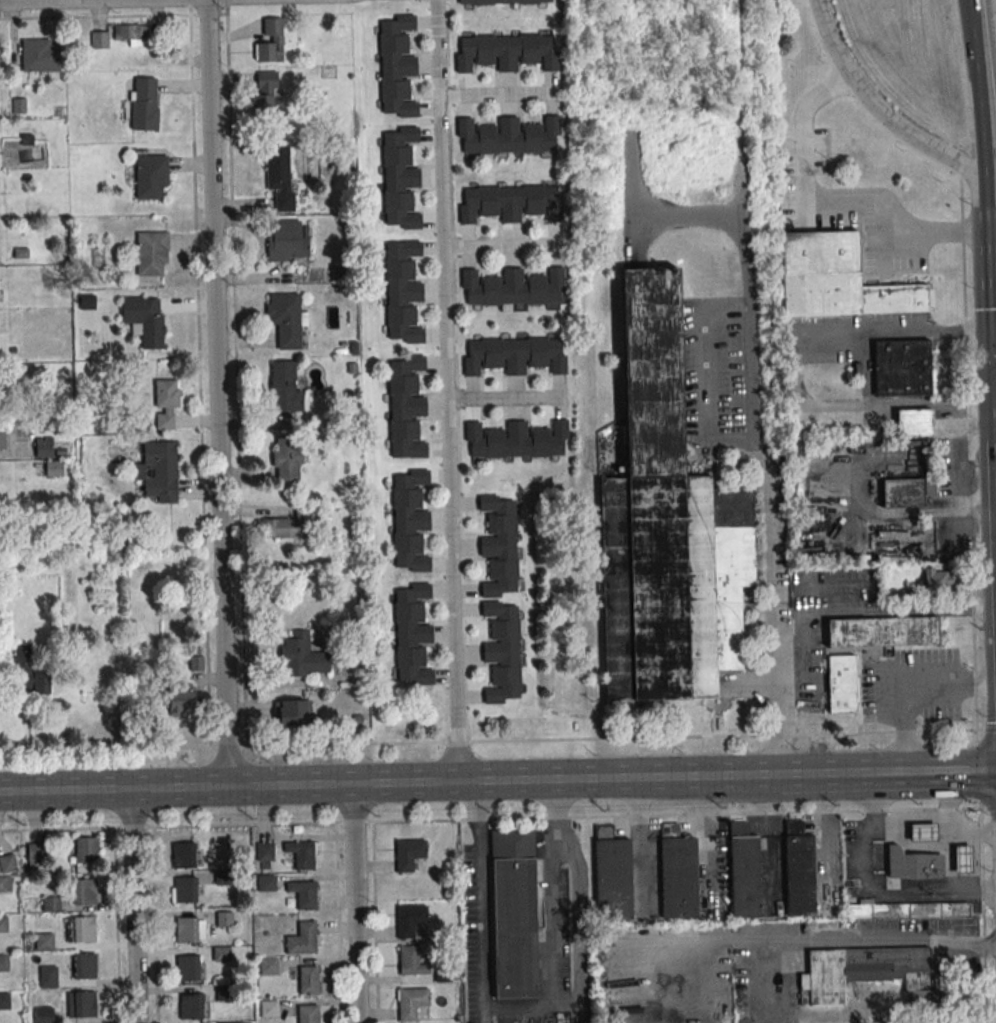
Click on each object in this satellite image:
building: (501, 2)
building: (130, 34)
building: (99, 40)
building: (270, 41)
building: (505, 51)
building: (41, 55)
building: (397, 66)
road: (978, 88)
building: (264, 91)
road: (497, 93)
building: (143, 105)
road: (878, 109)
building: (506, 136)
building: (279, 175)
building: (150, 177)
building: (400, 177)
building: (510, 202)
road: (834, 205)
building: (287, 240)
road: (498, 243)
building: (152, 253)
road: (988, 266)
building: (837, 278)
building: (512, 287)
building: (403, 292)
building: (286, 318)
building: (145, 319)
road: (902, 331)
building: (514, 355)
road: (993, 356)
traffic signals: (990, 357)
building: (900, 367)
road: (711, 375)
building: (284, 385)
road: (447, 390)
road: (216, 393)
road: (506, 398)
building: (165, 402)
building: (406, 406)
building: (912, 422)
road: (993, 426)
building: (515, 439)
road: (752, 440)
building: (44, 448)
road: (15, 449)
building: (287, 458)
building: (53, 467)
building: (158, 471)
building: (905, 492)
building: (307, 513)
building: (410, 520)
building: (346, 526)
building: (666, 526)
building: (276, 528)
building: (945, 544)
building: (499, 546)
building: (936, 578)
road: (834, 586)
road: (883, 612)
building: (412, 633)
building: (884, 633)
building: (502, 651)
building: (302, 656)
building: (29, 674)
building: (842, 686)
road: (909, 689)
building: (174, 699)
building: (293, 712)
road: (498, 740)
road: (888, 771)
road: (390, 783)
road: (951, 818)
road: (910, 820)
road: (354, 822)
road: (133, 826)
road: (57, 828)
building: (924, 834)
building: (83, 850)
building: (35, 851)
building: (300, 853)
building: (183, 854)
building: (408, 854)
building: (264, 855)
building: (964, 861)
building: (7, 863)
building: (913, 866)
building: (799, 875)
building: (221, 877)
building: (744, 877)
building: (678, 878)
building: (612, 879)
building: (266, 882)
building: (5, 883)
building: (184, 889)
building: (84, 891)
road: (873, 891)
building: (303, 893)
road: (573, 899)
road: (483, 902)
road: (356, 903)
road: (134, 905)
building: (908, 910)
building: (513, 914)
building: (224, 919)
building: (409, 919)
building: (3, 923)
building: (83, 928)
building: (186, 929)
building: (302, 938)
building: (44, 940)
road: (786, 940)
building: (221, 953)
building: (411, 961)
building: (3, 962)
building: (268, 965)
building: (84, 966)
building: (187, 968)
building: (865, 972)
building: (47, 976)
building: (308, 979)
building: (4, 1001)
building: (411, 1002)
building: (83, 1004)
building: (190, 1005)
building: (269, 1009)
building: (307, 1014)
building: (43, 1015)
building: (234, 1022)

